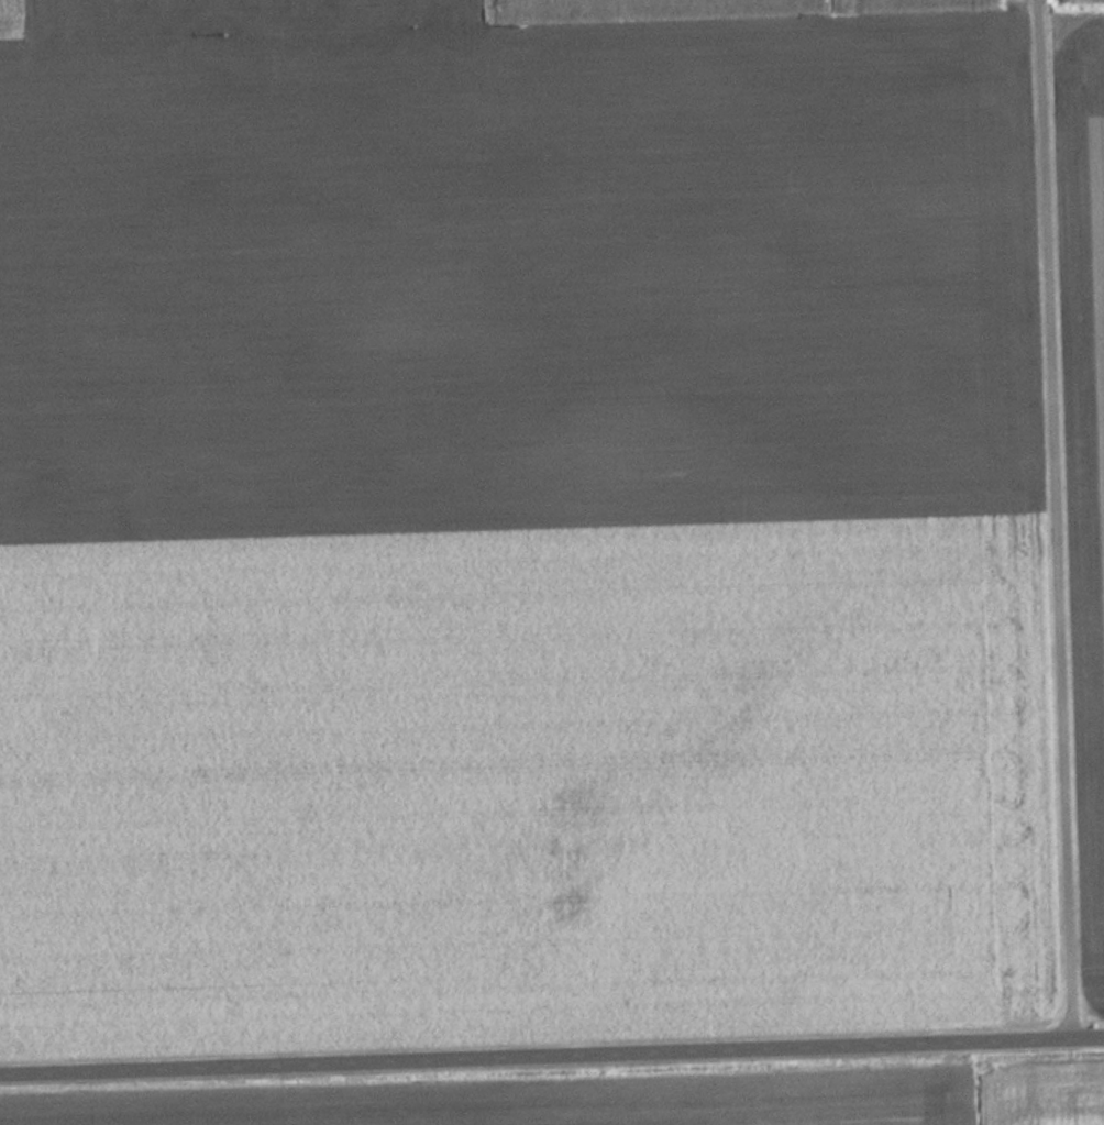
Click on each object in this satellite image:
road: (1052, 517)
road: (551, 1051)

